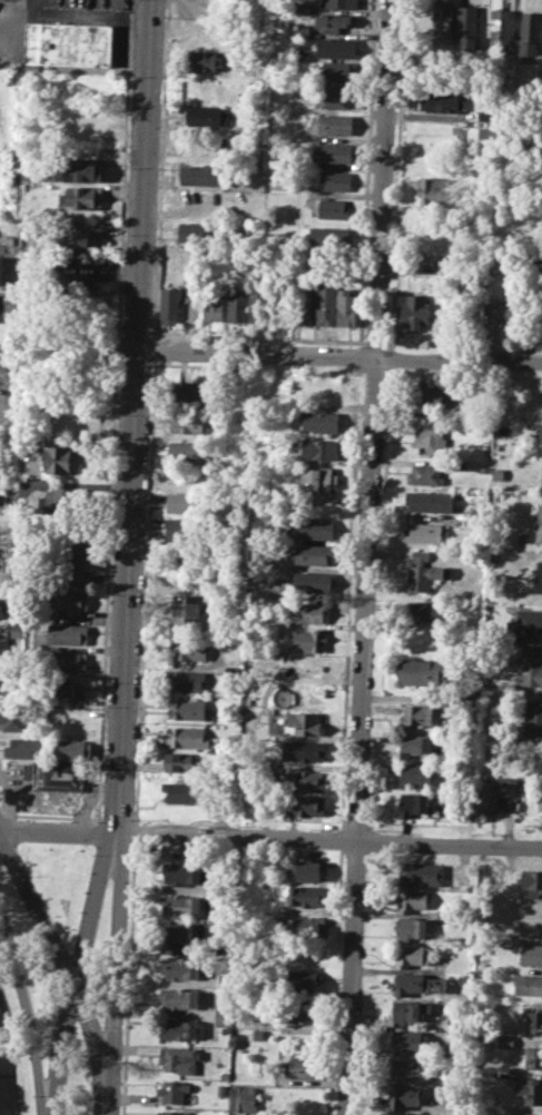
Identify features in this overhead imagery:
building: (339, 2)
building: (302, 8)
building: (443, 19)
parking lot: (60, 22)
building: (335, 22)
building: (466, 26)
building: (500, 29)
building: (300, 31)
building: (529, 34)
building: (70, 43)
building: (336, 47)
building: (300, 56)
building: (206, 60)
building: (338, 70)
street lamp: (130, 76)
building: (336, 97)
building: (440, 101)
building: (489, 112)
building: (207, 115)
building: (335, 124)
building: (333, 151)
street lamp: (127, 168)
road: (161, 168)
building: (81, 169)
building: (203, 174)
building: (336, 180)
building: (277, 182)
building: (435, 190)
building: (82, 197)
building: (334, 207)
building: (197, 231)
street lamp: (124, 235)
building: (325, 235)
building: (77, 239)
building: (6, 270)
road: (362, 273)
building: (75, 282)
building: (300, 302)
building: (213, 304)
building: (325, 304)
building: (236, 305)
building: (170, 306)
building: (258, 306)
building: (346, 307)
building: (417, 312)
building: (504, 312)
street lamp: (120, 324)
road: (154, 347)
road: (338, 353)
building: (189, 389)
building: (437, 394)
road: (114, 408)
street lamp: (117, 415)
road: (134, 415)
building: (319, 421)
building: (189, 423)
building: (540, 430)
building: (430, 437)
building: (319, 448)
building: (188, 450)
building: (57, 458)
building: (461, 464)
building: (497, 473)
building: (426, 474)
building: (319, 480)
building: (541, 484)
building: (430, 500)
building: (50, 501)
building: (185, 502)
street lamp: (114, 509)
building: (539, 525)
building: (309, 526)
building: (185, 527)
building: (424, 533)
building: (69, 552)
building: (312, 552)
building: (186, 554)
road: (367, 556)
building: (425, 572)
building: (68, 576)
building: (539, 578)
building: (313, 581)
road: (144, 589)
street lamp: (110, 595)
building: (68, 601)
building: (1, 608)
building: (187, 609)
building: (311, 611)
building: (420, 611)
building: (526, 624)
building: (16, 629)
building: (69, 633)
building: (311, 640)
building: (3, 649)
building: (187, 649)
building: (66, 661)
building: (307, 665)
building: (532, 667)
building: (421, 671)
building: (186, 681)
building: (9, 683)
street lamp: (107, 683)
building: (61, 690)
building: (188, 708)
building: (13, 716)
building: (276, 716)
building: (417, 716)
building: (533, 719)
building: (303, 723)
building: (190, 738)
building: (416, 744)
building: (24, 747)
building: (73, 750)
building: (304, 750)
building: (184, 762)
street lamp: (102, 770)
building: (415, 773)
building: (56, 774)
building: (306, 780)
building: (186, 792)
building: (495, 793)
building: (540, 796)
building: (305, 805)
building: (415, 805)
road: (7, 812)
road: (38, 815)
street lamp: (19, 818)
road: (116, 818)
road: (135, 819)
street lamp: (95, 821)
street lamp: (203, 825)
street lamp: (312, 829)
road: (134, 832)
road: (270, 836)
street lamp: (91, 853)
building: (306, 870)
street lamp: (129, 872)
building: (183, 872)
building: (421, 874)
street lamp: (30, 877)
park: (59, 879)
building: (533, 882)
building: (307, 896)
building: (412, 900)
building: (181, 905)
building: (304, 924)
building: (411, 928)
building: (178, 933)
street lamp: (68, 943)
park: (99, 954)
building: (531, 954)
building: (411, 955)
road: (60, 960)
street lamp: (126, 964)
park: (32, 966)
building: (180, 967)
road: (77, 970)
road: (111, 973)
road: (127, 978)
building: (302, 979)
building: (416, 983)
building: (529, 984)
building: (179, 997)
street lamp: (18, 1008)
road: (24, 1009)
street lamp: (55, 1010)
building: (410, 1010)
building: (298, 1014)
building: (223, 1017)
building: (534, 1022)
street lamp: (101, 1025)
building: (177, 1028)
building: (257, 1034)
building: (408, 1040)
building: (505, 1042)
building: (533, 1057)
road: (11, 1058)
building: (178, 1058)
building: (306, 1066)
building: (405, 1068)
park: (77, 1076)
building: (220, 1088)
building: (174, 1089)
building: (531, 1089)
building: (403, 1096)
street lamp: (32, 1097)
building: (244, 1098)
building: (173, 1113)
street lamp: (119, 1114)
building: (402, 1114)
building: (515, 1114)

